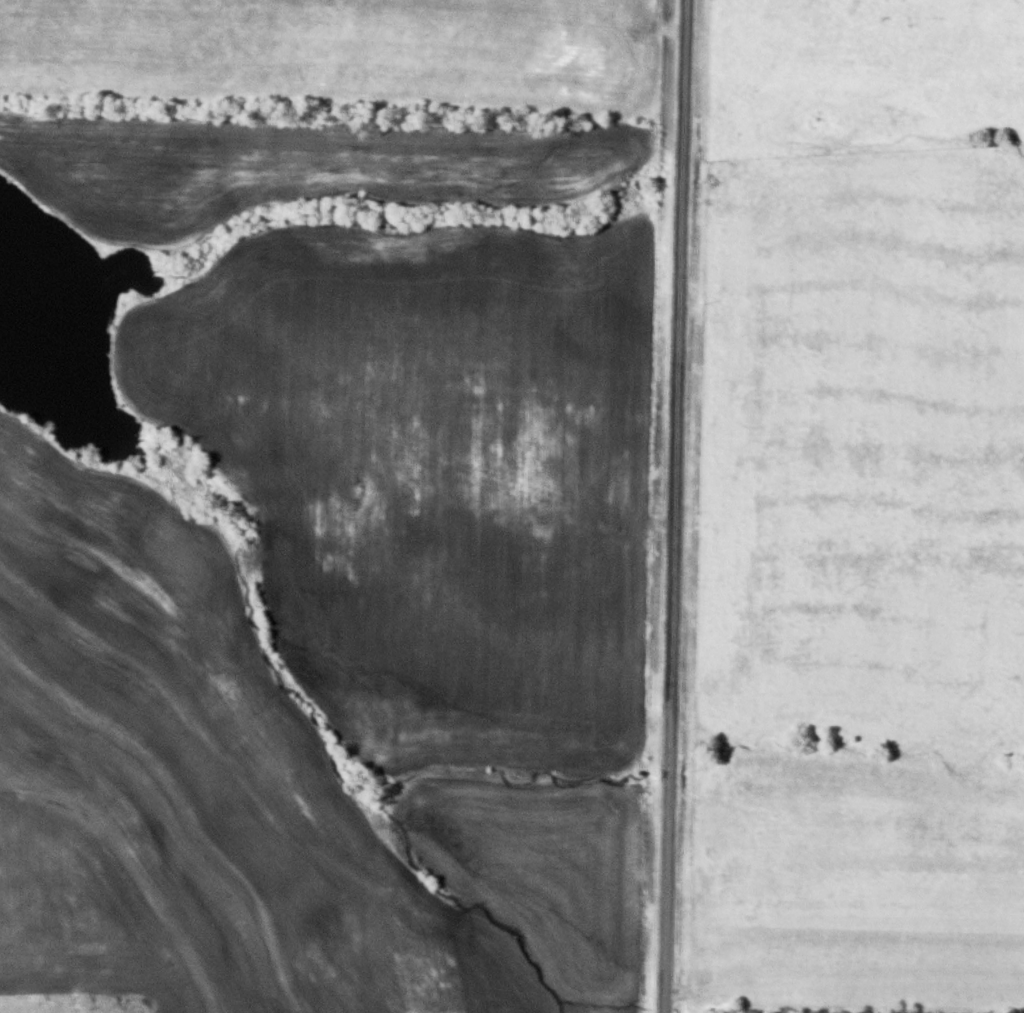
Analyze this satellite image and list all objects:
road: (677, 506)

